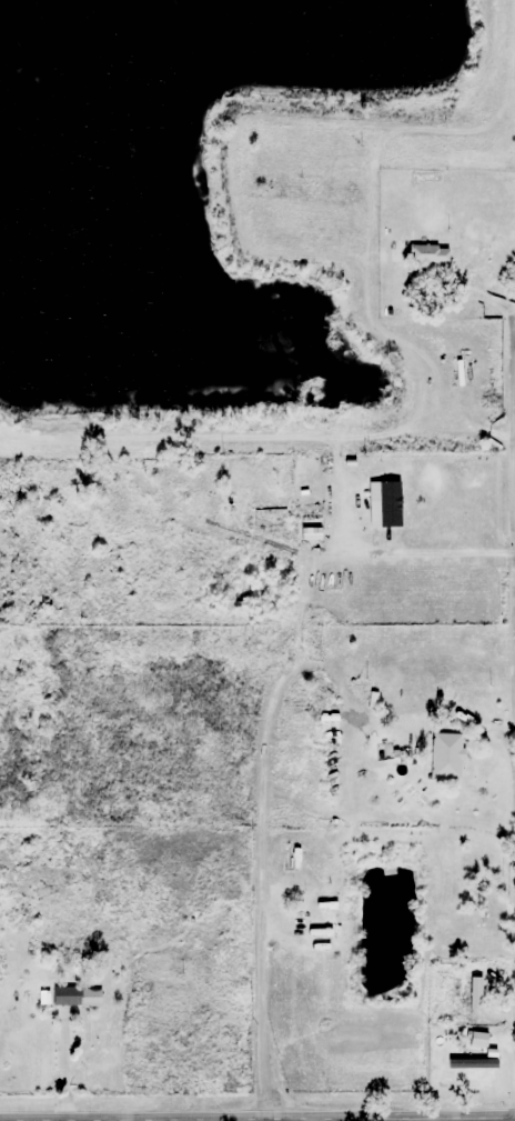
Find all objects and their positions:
building: (430, 179)
building: (430, 256)
road: (512, 433)
building: (216, 471)
building: (390, 504)
building: (270, 518)
road: (471, 552)
building: (331, 751)
building: (447, 755)
building: (305, 859)
road: (259, 892)
building: (471, 990)
building: (68, 995)
building: (475, 1069)
road: (420, 1119)
road: (388, 1120)

